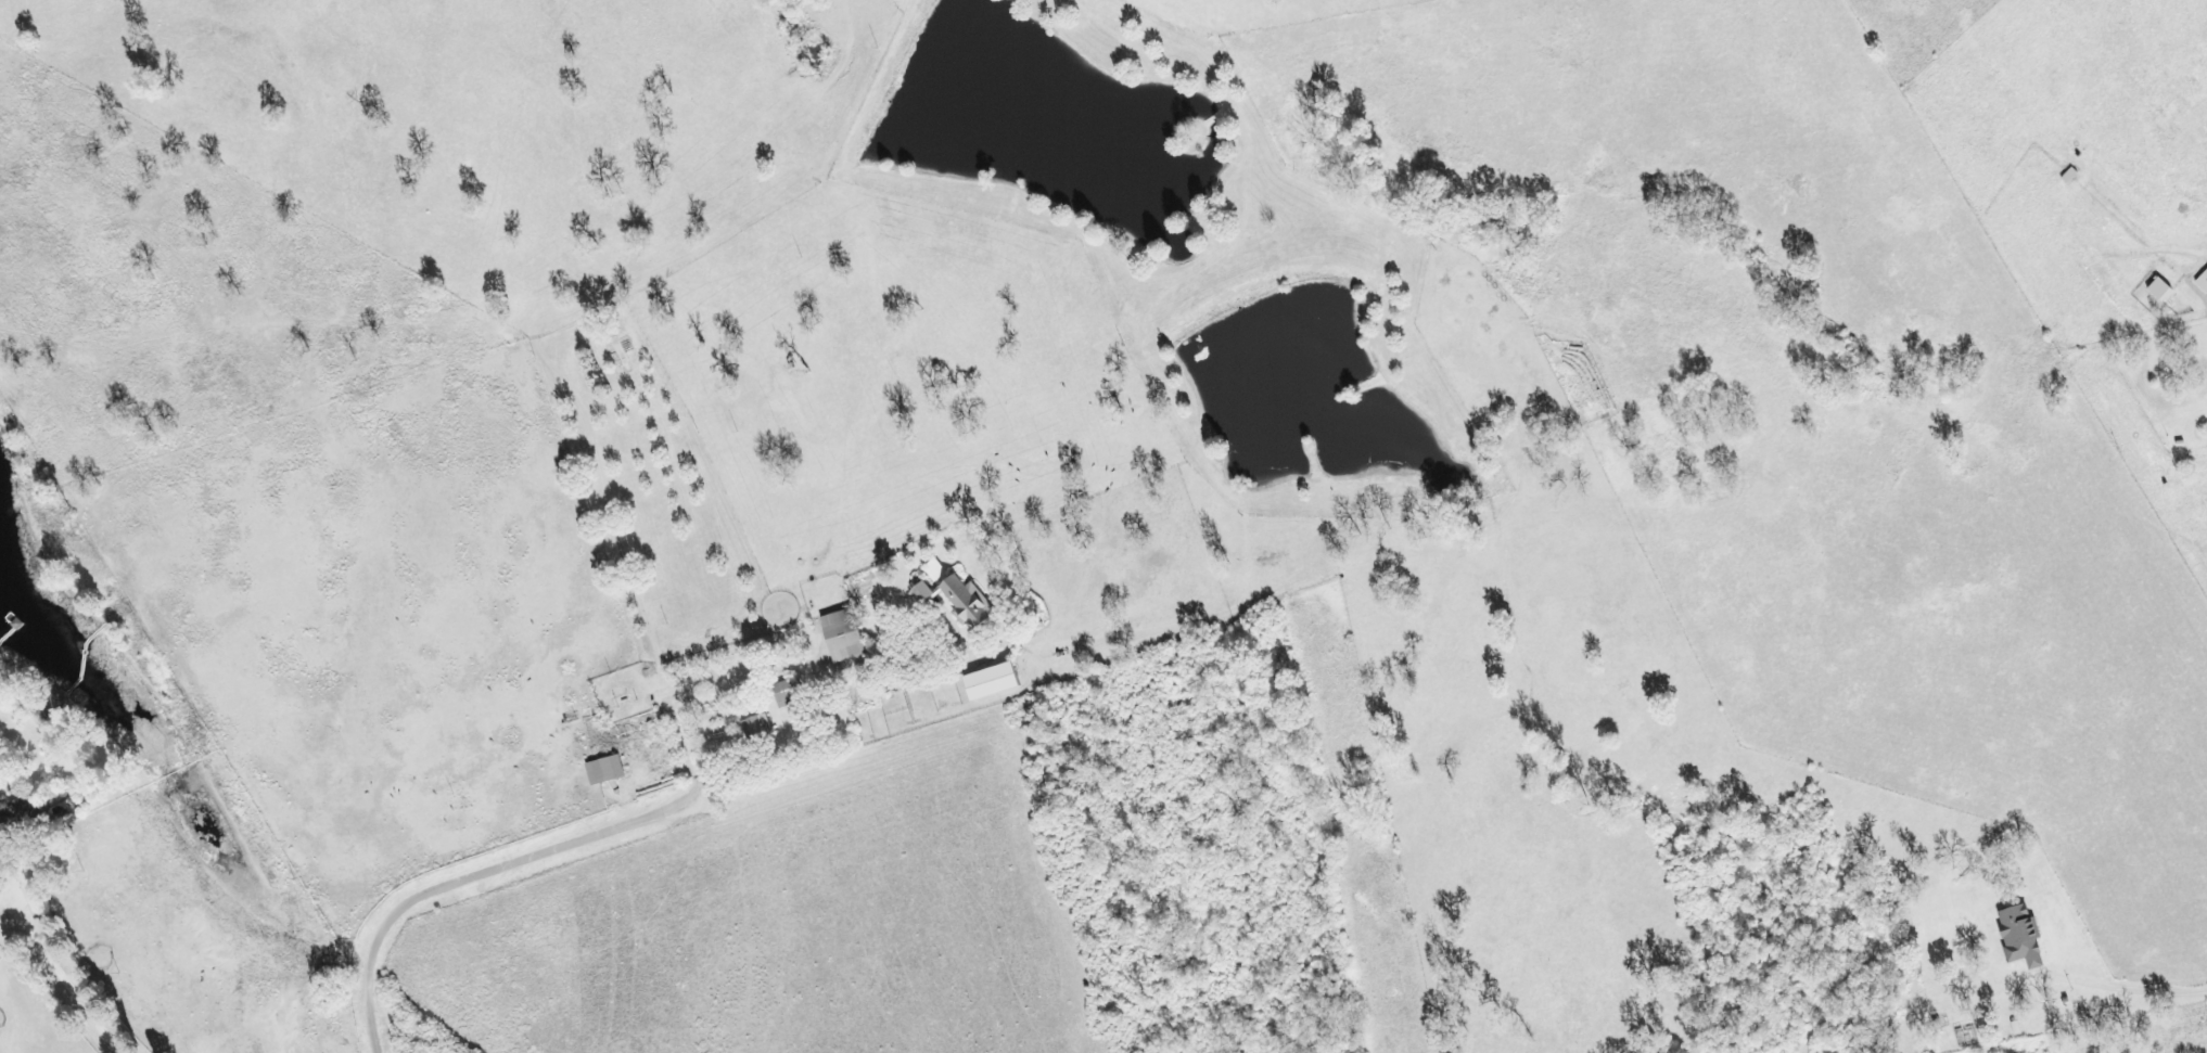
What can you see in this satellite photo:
building: (2203, 283)
building: (2159, 291)
building: (958, 601)
building: (850, 635)
road: (697, 683)
building: (992, 683)
building: (763, 730)
building: (611, 771)
building: (23, 818)
building: (0, 821)
road: (473, 875)
road: (9, 914)
building: (2020, 937)
road: (52, 966)
road: (2126, 997)

